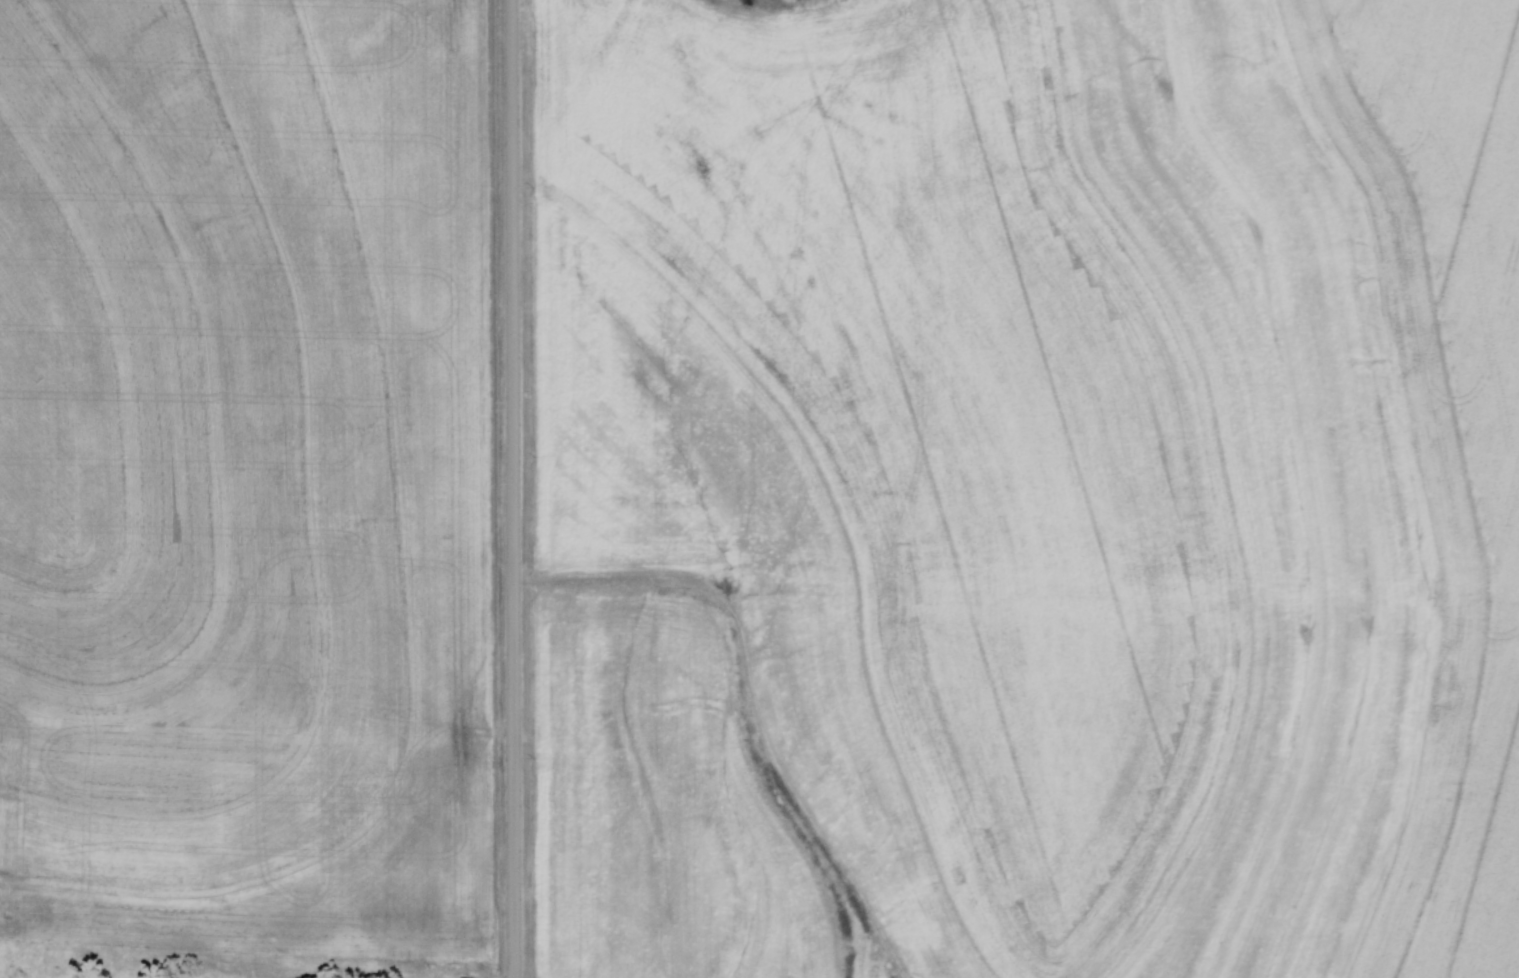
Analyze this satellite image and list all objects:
road: (509, 489)

